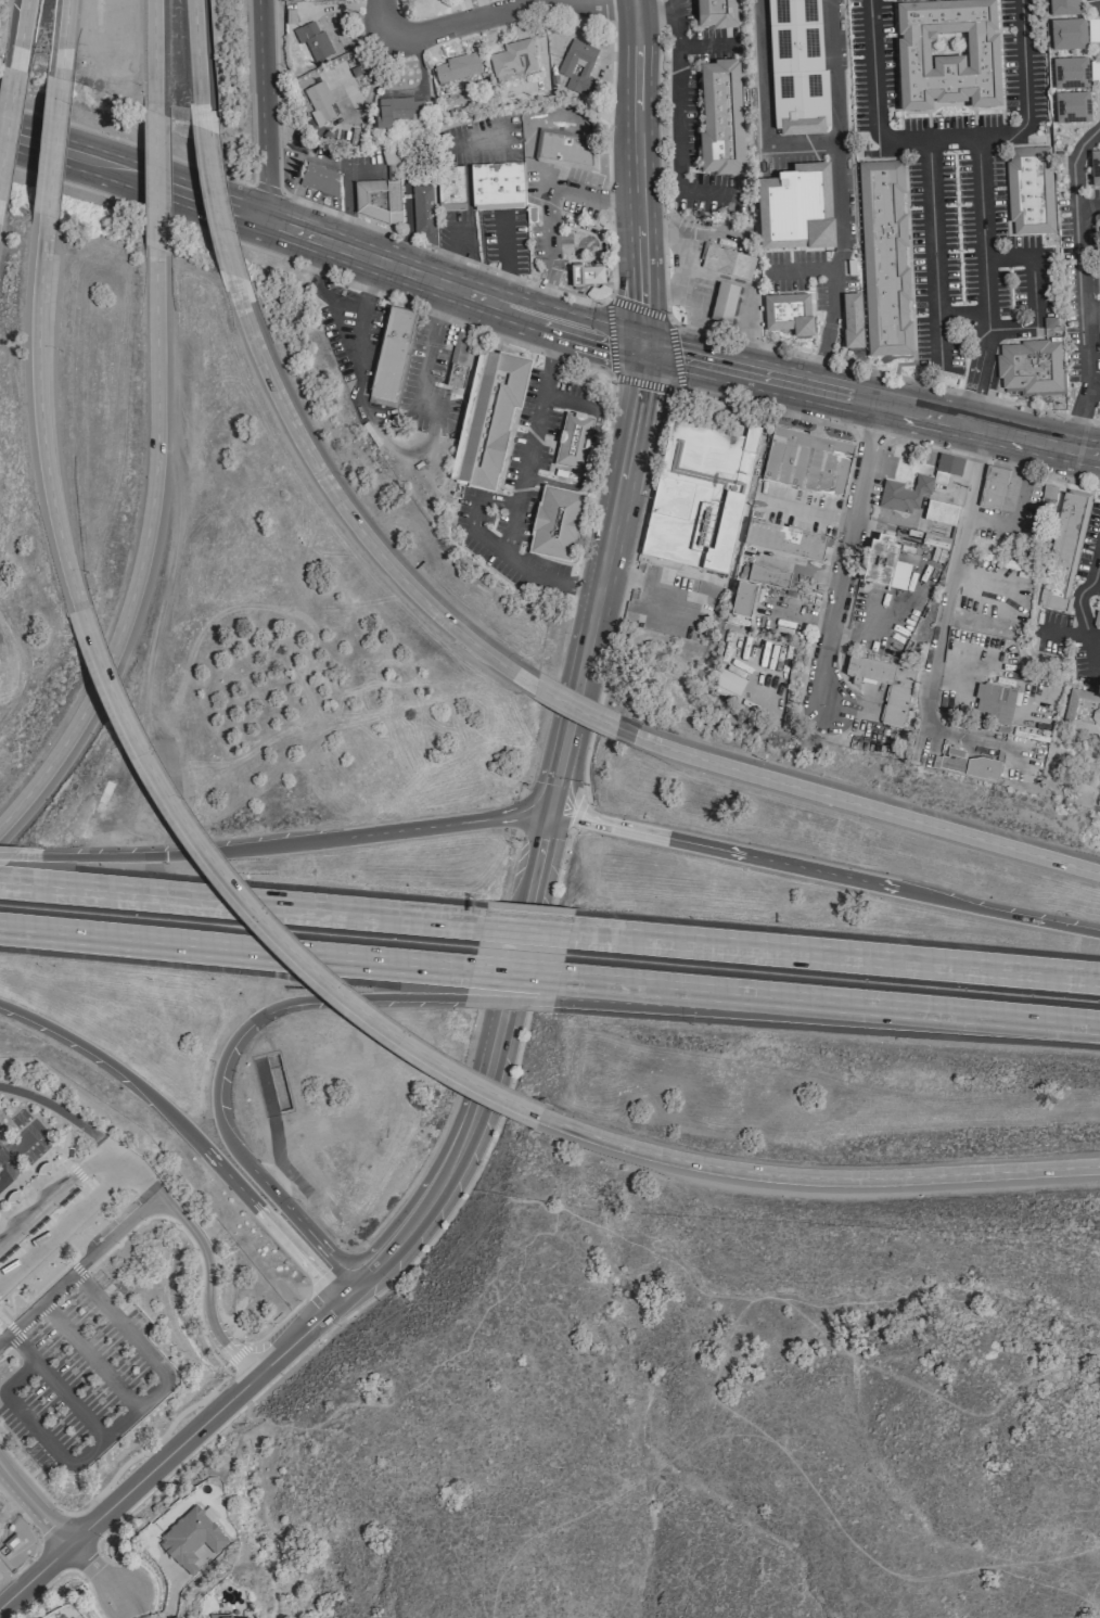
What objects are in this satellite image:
building: (1063, 8)
road: (607, 11)
road: (655, 12)
road: (495, 13)
building: (715, 14)
road: (20, 29)
road: (63, 33)
building: (1067, 35)
road: (154, 41)
building: (314, 41)
road: (195, 51)
building: (949, 55)
building: (512, 60)
building: (578, 67)
building: (796, 67)
building: (456, 68)
road: (832, 71)
building: (1070, 74)
building: (319, 102)
road: (8, 105)
road: (764, 107)
road: (263, 109)
building: (1072, 109)
building: (402, 114)
road: (680, 119)
building: (720, 119)
road: (945, 138)
road: (128, 141)
road: (51, 144)
building: (565, 150)
road: (155, 165)
building: (1095, 168)
road: (130, 169)
road: (637, 173)
building: (320, 179)
building: (497, 186)
road: (267, 188)
building: (449, 188)
building: (1029, 191)
road: (210, 195)
building: (376, 201)
road: (548, 205)
road: (1088, 206)
road: (840, 207)
building: (795, 209)
building: (423, 214)
road: (600, 244)
road: (936, 255)
building: (887, 259)
building: (726, 262)
road: (307, 266)
road: (483, 266)
road: (688, 268)
road: (409, 272)
road: (984, 275)
building: (585, 276)
road: (591, 285)
road: (1033, 291)
road: (666, 292)
road: (747, 292)
road: (830, 292)
road: (1084, 292)
building: (724, 303)
building: (788, 314)
road: (1092, 314)
road: (666, 320)
building: (852, 321)
road: (727, 335)
road: (602, 336)
road: (555, 340)
traffic signals: (644, 347)
building: (394, 355)
road: (429, 357)
building: (462, 360)
road: (356, 369)
building: (1031, 369)
road: (1095, 386)
road: (871, 391)
road: (39, 416)
road: (868, 416)
building: (488, 422)
road: (869, 432)
building: (573, 442)
road: (527, 453)
building: (807, 461)
road: (993, 461)
building: (948, 464)
road: (598, 481)
building: (992, 488)
building: (903, 494)
building: (698, 496)
road: (645, 506)
building: (941, 512)
road: (346, 513)
building: (555, 523)
building: (782, 539)
road: (500, 548)
building: (1062, 551)
road: (139, 553)
road: (842, 562)
building: (884, 563)
building: (768, 576)
road: (600, 579)
road: (678, 585)
building: (742, 600)
road: (1077, 606)
building: (1096, 620)
road: (939, 627)
building: (729, 683)
building: (994, 703)
building: (895, 704)
road: (572, 709)
building: (1083, 711)
building: (968, 765)
road: (856, 802)
traffic signals: (549, 812)
road: (577, 812)
road: (281, 844)
road: (722, 849)
traffic signals: (165, 854)
road: (5, 855)
road: (240, 903)
road: (254, 909)
road: (997, 914)
road: (523, 929)
road: (234, 950)
road: (833, 956)
road: (513, 974)
road: (637, 985)
traffic signals: (320, 996)
road: (634, 996)
road: (507, 997)
road: (269, 1008)
road: (908, 1009)
road: (491, 1066)
road: (59, 1110)
parking lot: (1, 1126)
road: (182, 1132)
parking lot: (27, 1134)
road: (119, 1156)
road: (8, 1167)
building: (42, 1167)
road: (815, 1177)
road: (62, 1187)
road: (29, 1194)
building: (11, 1195)
parking lot: (114, 1220)
road: (64, 1223)
road: (304, 1225)
road: (115, 1233)
road: (9, 1238)
road: (190, 1240)
road: (427, 1245)
road: (206, 1262)
road: (77, 1267)
street lamp: (394, 1283)
road: (347, 1288)
road: (27, 1301)
road: (0, 1304)
road: (36, 1307)
road: (321, 1308)
road: (39, 1314)
road: (3, 1318)
road: (279, 1321)
road: (12, 1329)
road: (298, 1333)
road: (236, 1352)
road: (89, 1353)
parking lot: (77, 1369)
road: (55, 1385)
road: (119, 1420)
road: (164, 1457)
road: (115, 1470)
road: (34, 1505)
building: (191, 1537)
road: (35, 1575)
road: (104, 1577)
building: (71, 1616)
building: (231, 1617)

